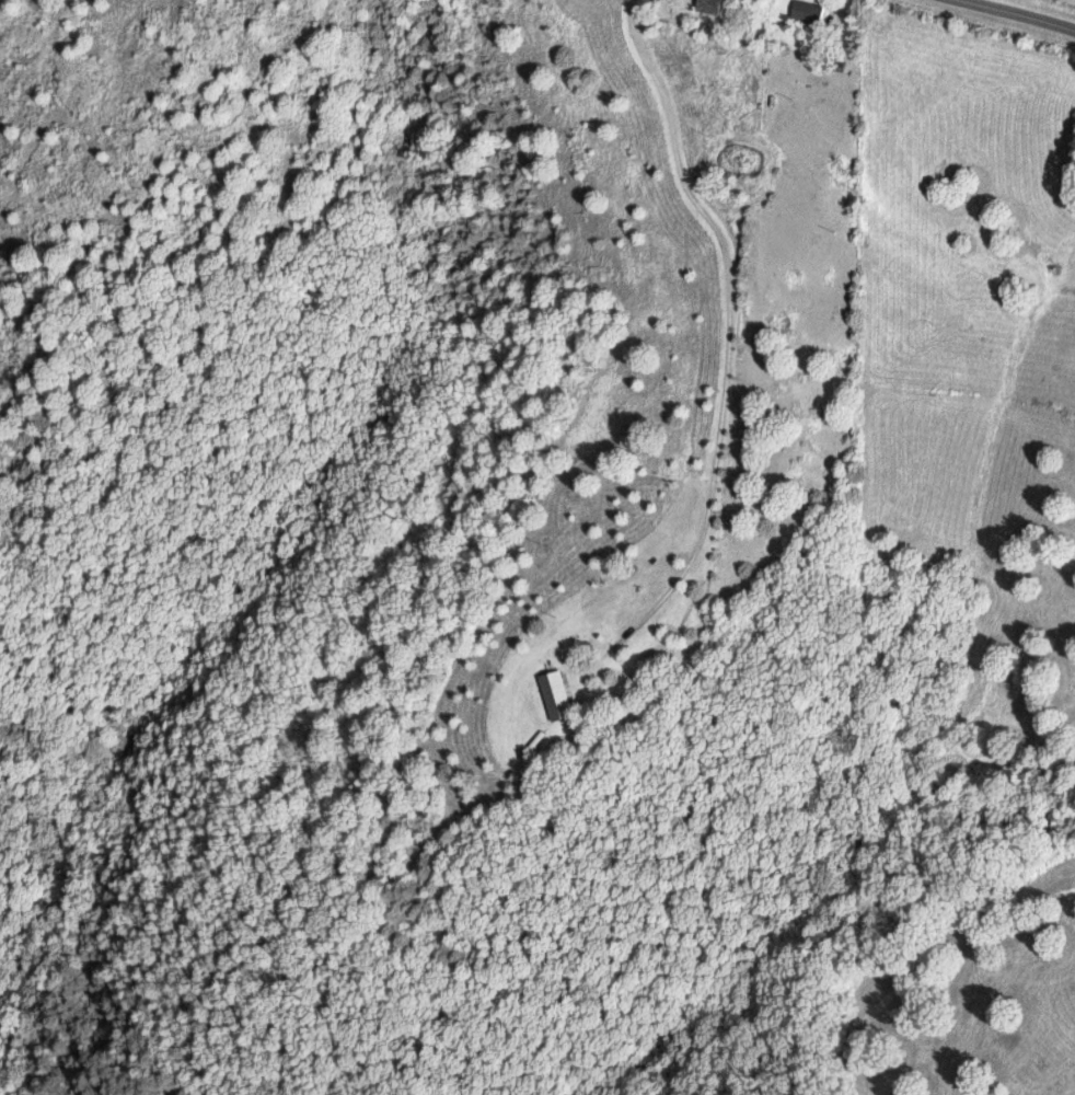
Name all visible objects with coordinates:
building: (709, 7)
building: (808, 12)
road: (1002, 18)
road: (832, 20)
road: (727, 292)
building: (558, 695)

